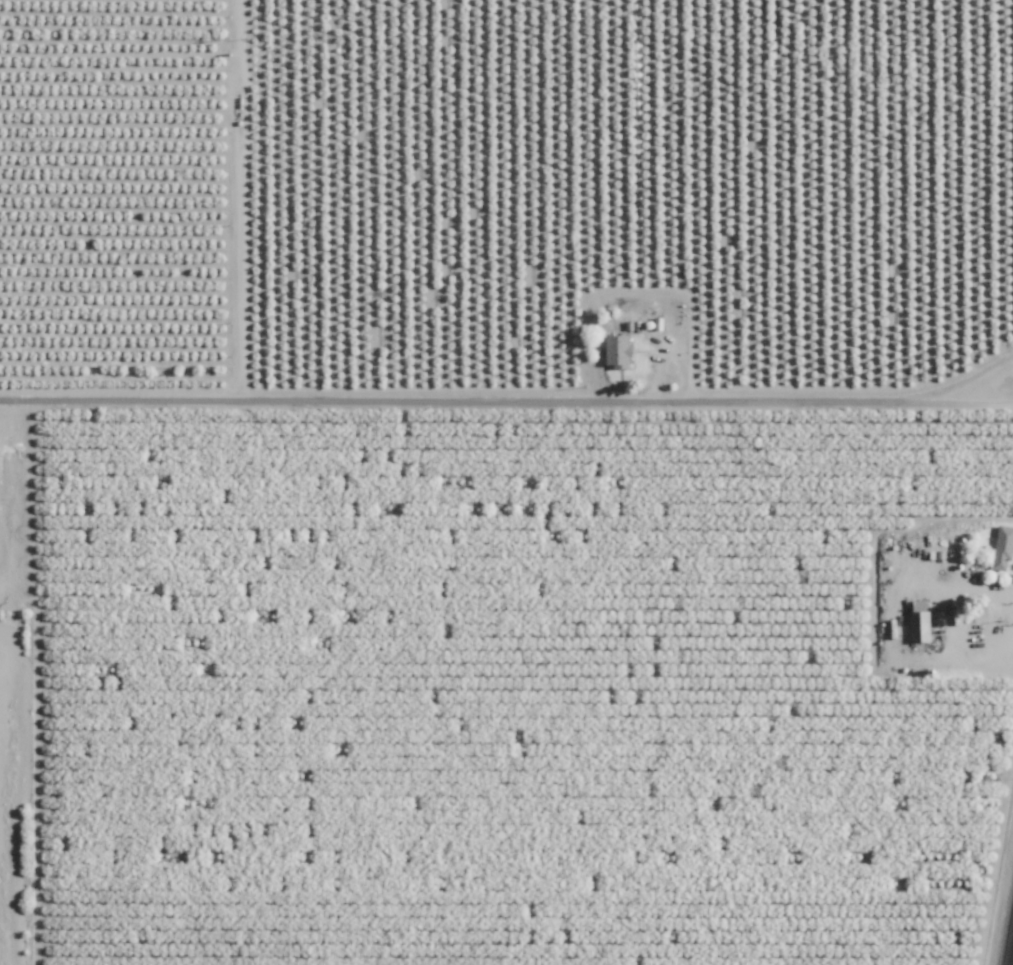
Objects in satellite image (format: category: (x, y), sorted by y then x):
crop: (504, 187)
building: (614, 349)
road: (975, 378)
road: (469, 395)
road: (974, 405)
building: (568, 465)
building: (1002, 541)
road: (888, 623)
building: (916, 625)
crop: (520, 682)
crop: (17, 684)

